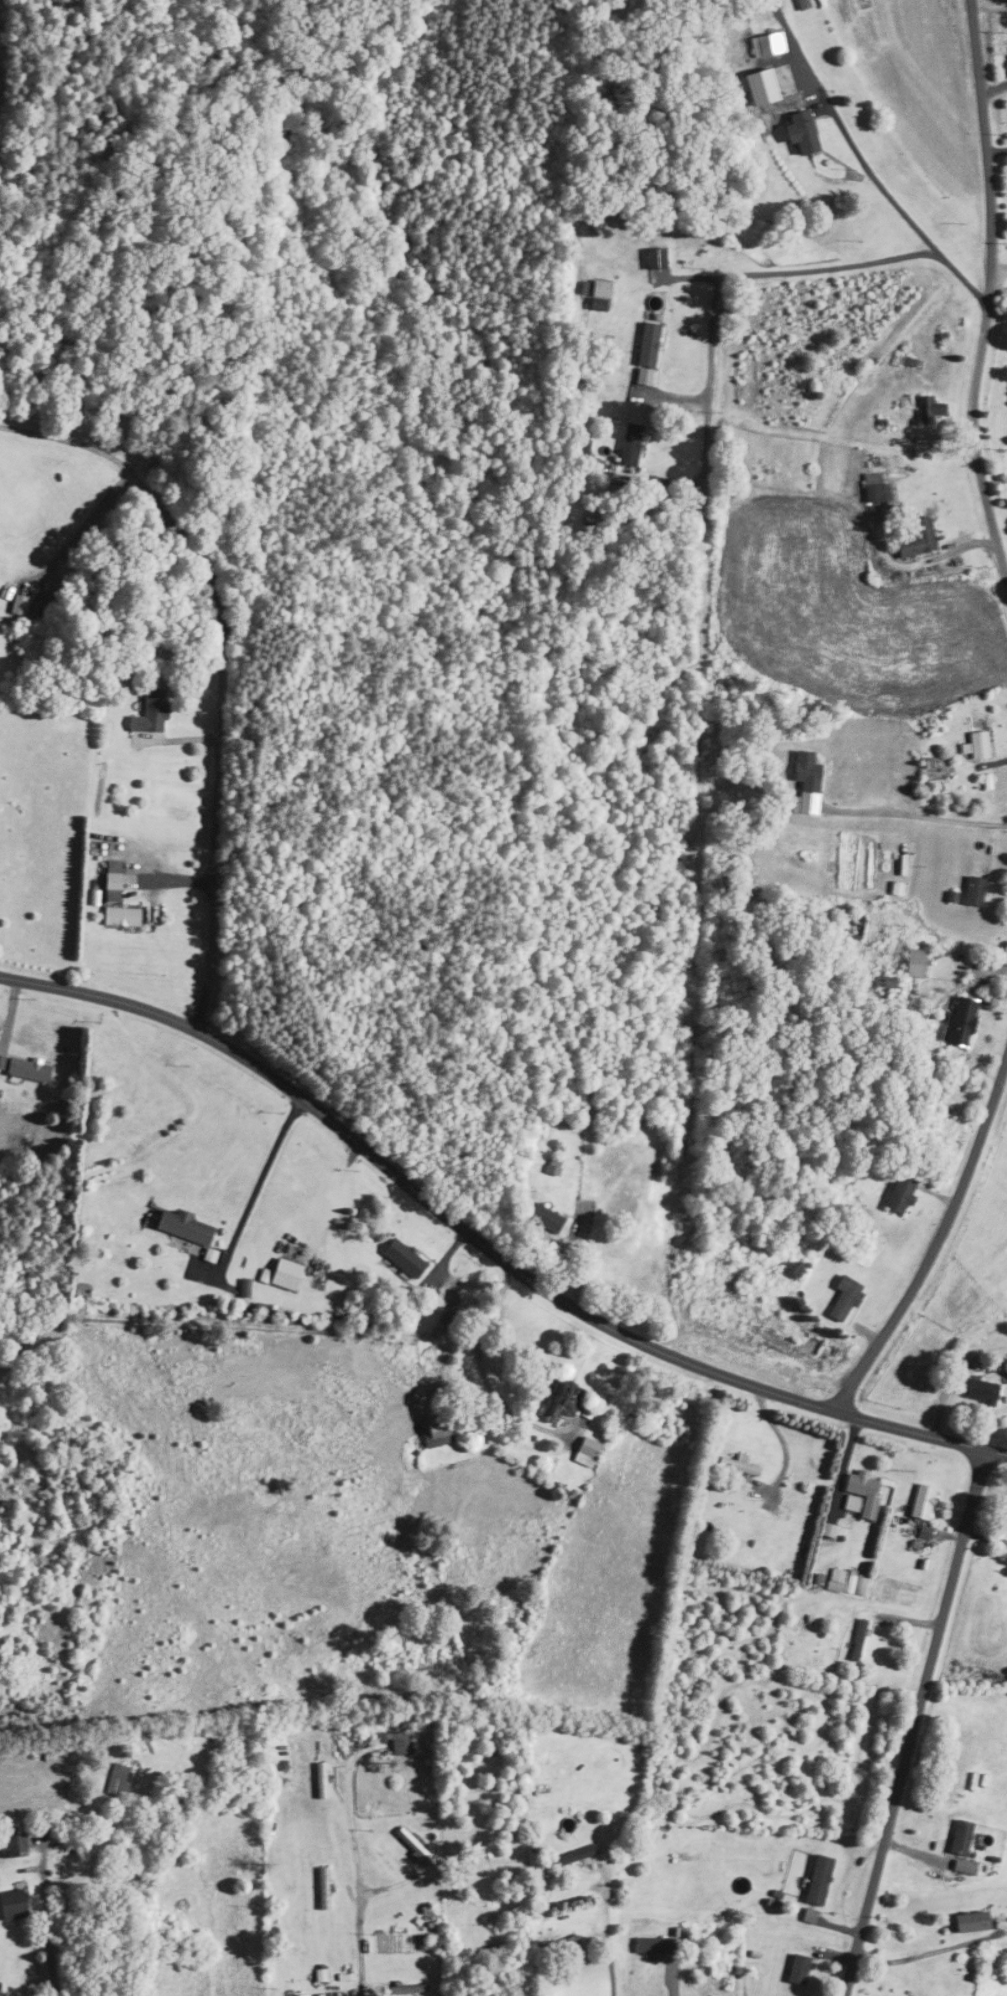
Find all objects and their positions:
building: (769, 44)
building: (803, 132)
road: (834, 133)
building: (656, 258)
road: (761, 273)
road: (998, 274)
road: (988, 289)
building: (601, 294)
building: (649, 344)
building: (930, 409)
road: (71, 440)
building: (631, 443)
building: (877, 488)
building: (918, 538)
building: (152, 711)
road: (225, 738)
building: (980, 744)
building: (805, 765)
road: (903, 805)
building: (114, 882)
road: (172, 882)
building: (975, 891)
building: (123, 917)
building: (854, 924)
building: (915, 961)
building: (963, 1021)
building: (29, 1071)
building: (556, 1169)
road: (256, 1186)
building: (902, 1194)
building: (546, 1219)
building: (186, 1227)
road: (940, 1242)
road: (487, 1244)
building: (405, 1258)
building: (288, 1274)
building: (846, 1299)
building: (983, 1391)
building: (566, 1401)
road: (510, 1411)
building: (438, 1431)
building: (589, 1452)
building: (740, 1466)
building: (862, 1495)
building: (924, 1502)
building: (837, 1577)
building: (857, 1583)
building: (860, 1640)
road: (915, 1722)
building: (400, 1742)
building: (120, 1780)
building: (324, 1780)
building: (14, 1842)
building: (418, 1848)
building: (578, 1855)
building: (821, 1880)
building: (326, 1888)
road: (357, 1889)
building: (15, 1905)
building: (973, 1922)
road: (611, 1934)
building: (563, 1945)
building: (653, 1946)
road: (936, 1951)
building: (801, 1970)
road: (674, 1979)
road: (53, 1982)

